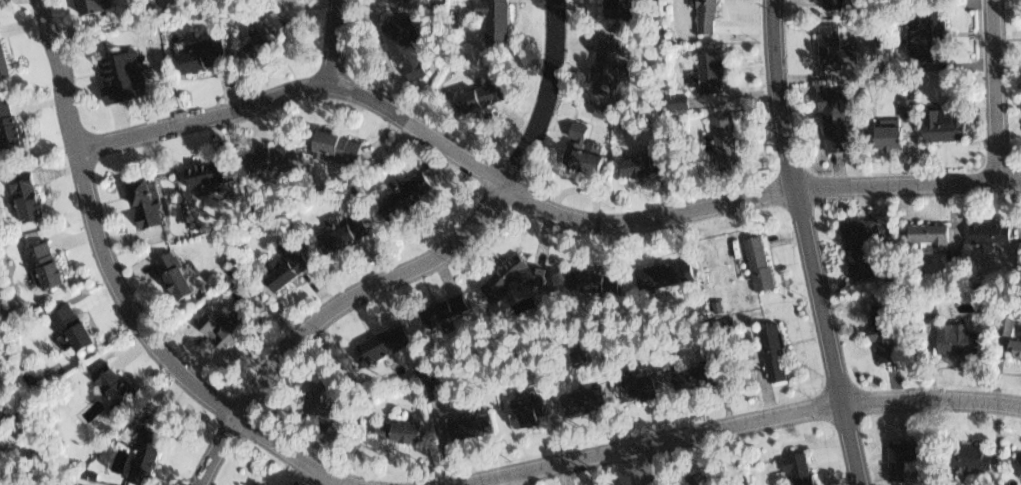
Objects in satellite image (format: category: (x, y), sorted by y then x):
building: (86, 4)
building: (831, 6)
building: (616, 7)
building: (701, 16)
building: (493, 18)
building: (266, 23)
building: (923, 33)
building: (261, 40)
road: (332, 44)
building: (403, 47)
building: (833, 48)
building: (200, 53)
building: (605, 57)
building: (3, 58)
building: (705, 69)
building: (121, 74)
building: (481, 91)
road: (995, 91)
building: (674, 100)
building: (902, 104)
building: (831, 120)
building: (938, 120)
building: (8, 121)
building: (882, 131)
building: (721, 136)
building: (709, 141)
building: (335, 143)
building: (579, 143)
building: (268, 154)
building: (645, 159)
building: (210, 174)
building: (23, 192)
building: (407, 195)
building: (144, 200)
road: (530, 200)
building: (987, 229)
building: (925, 231)
building: (343, 233)
road: (807, 243)
building: (858, 244)
building: (954, 256)
building: (761, 264)
building: (43, 265)
building: (285, 266)
road: (416, 266)
building: (658, 272)
building: (173, 273)
building: (512, 274)
building: (587, 281)
road: (117, 296)
building: (926, 308)
building: (441, 309)
building: (1006, 324)
building: (68, 326)
building: (220, 328)
building: (880, 334)
building: (952, 336)
building: (380, 344)
building: (1009, 348)
building: (769, 351)
building: (576, 355)
building: (707, 374)
building: (30, 375)
building: (108, 377)
building: (645, 382)
building: (436, 390)
building: (580, 397)
building: (320, 400)
building: (525, 408)
building: (467, 422)
road: (732, 424)
building: (395, 430)
building: (141, 454)
building: (967, 455)
building: (898, 456)
building: (1015, 462)
road: (636, 466)
building: (793, 466)
building: (699, 476)
building: (258, 482)

